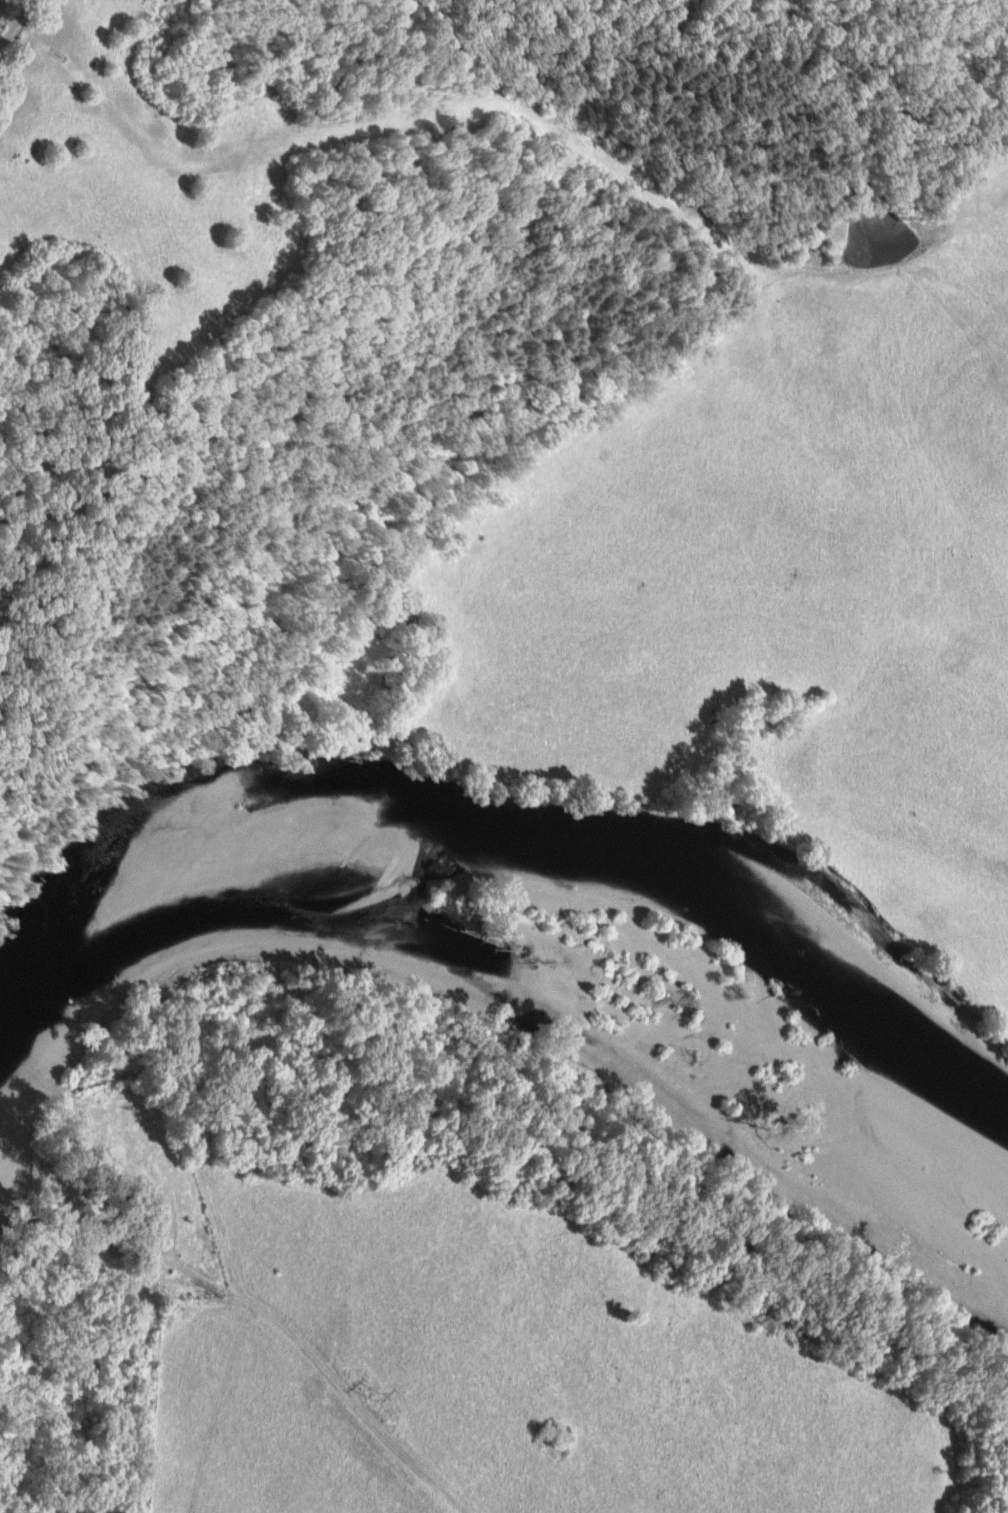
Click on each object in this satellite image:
road: (9, 18)
river: (500, 834)
road: (325, 1369)
power tower: (378, 1399)

